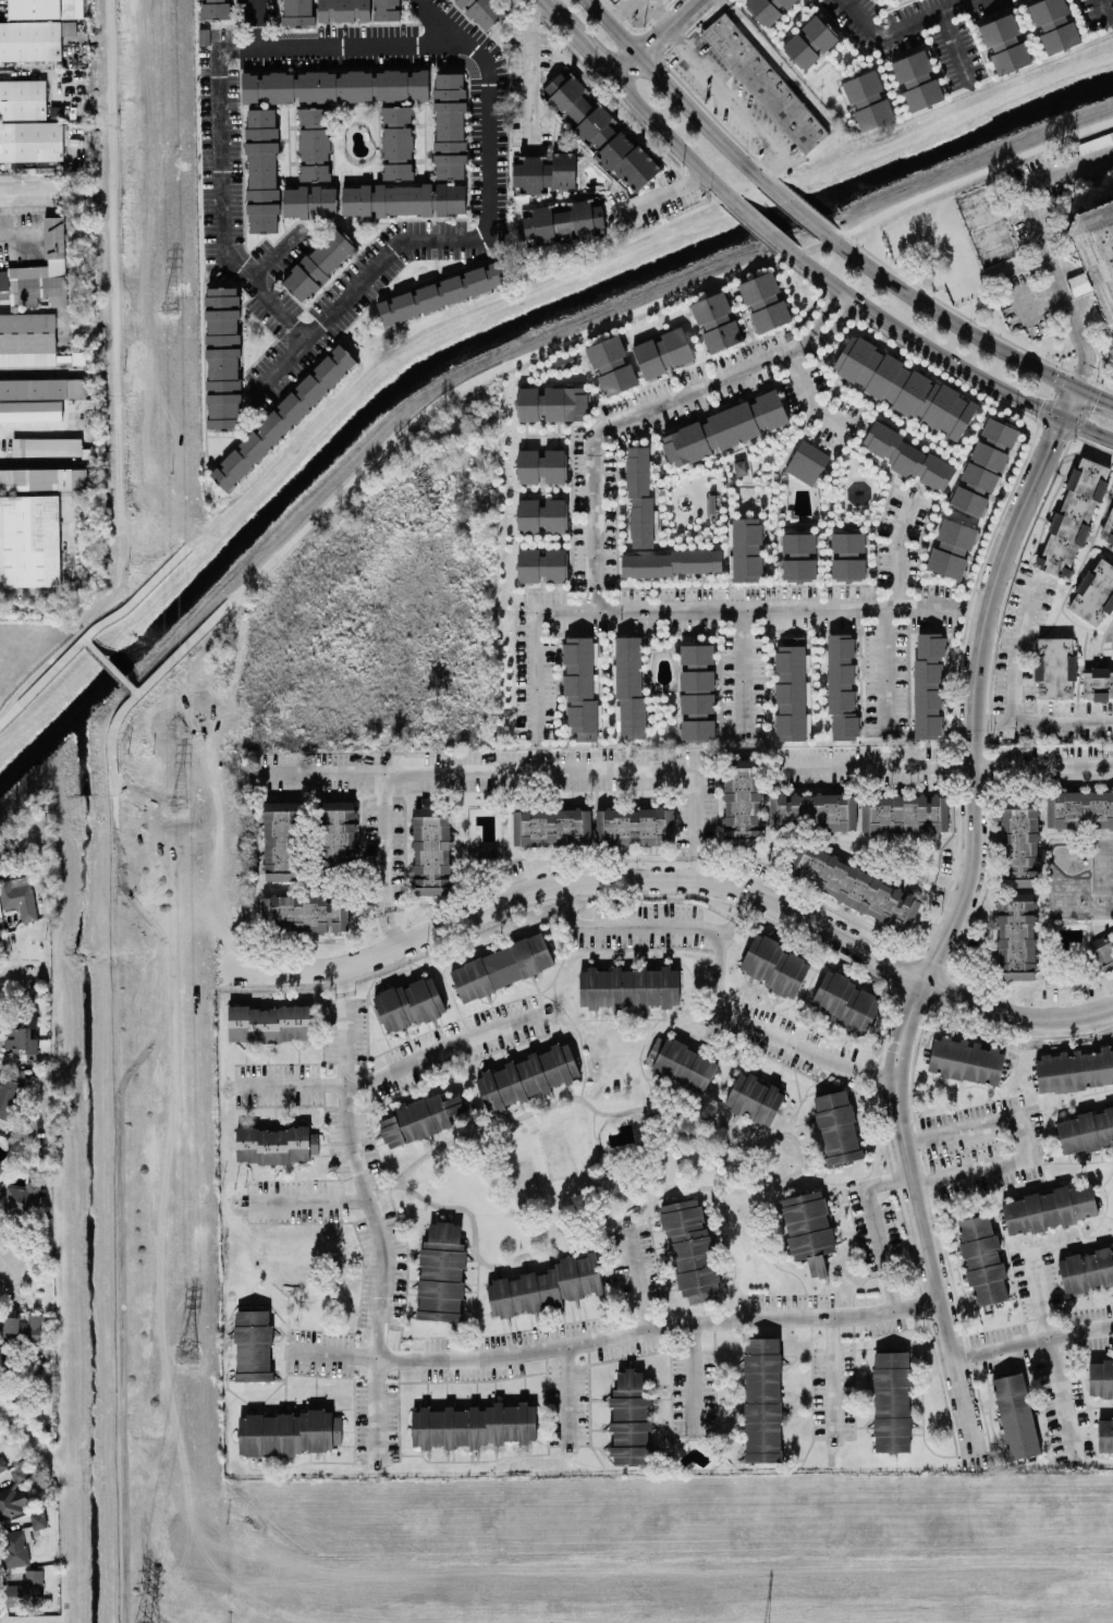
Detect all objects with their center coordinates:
building: (898, 0)
road: (540, 1)
building: (41, 8)
building: (216, 9)
building: (768, 9)
building: (343, 10)
building: (387, 10)
building: (482, 11)
building: (297, 12)
road: (1102, 13)
road: (259, 22)
road: (437, 22)
building: (1053, 24)
road: (901, 26)
road: (657, 39)
building: (29, 40)
road: (577, 40)
building: (809, 41)
road: (423, 44)
building: (1004, 44)
road: (958, 47)
road: (531, 71)
building: (917, 81)
building: (765, 82)
road: (675, 93)
building: (868, 100)
road: (734, 102)
building: (27, 124)
building: (450, 125)
building: (600, 131)
building: (314, 141)
road: (672, 141)
park: (962, 141)
building: (396, 142)
building: (261, 170)
building: (542, 171)
road: (29, 194)
road: (658, 196)
building: (403, 199)
building: (309, 202)
road: (796, 209)
road: (758, 224)
building: (986, 225)
road: (1051, 249)
building: (1097, 253)
road: (279, 257)
building: (318, 264)
building: (39, 271)
building: (441, 293)
building: (765, 303)
power tower: (171, 313)
road: (947, 318)
building: (715, 321)
road: (430, 327)
building: (27, 332)
road: (578, 334)
river: (493, 335)
road: (112, 341)
road: (918, 343)
building: (662, 352)
building: (222, 356)
building: (563, 361)
building: (611, 365)
building: (904, 387)
building: (42, 388)
traffic signals: (1078, 389)
road: (806, 393)
road: (1096, 395)
building: (552, 404)
road: (646, 410)
building: (283, 417)
traffic signals: (1065, 419)
building: (724, 428)
road: (1089, 429)
building: (47, 446)
building: (908, 457)
road: (39, 461)
building: (807, 462)
building: (984, 465)
building: (541, 466)
building: (639, 495)
building: (540, 515)
building: (1074, 515)
building: (33, 523)
building: (1108, 527)
building: (745, 548)
building: (951, 548)
road: (898, 553)
building: (847, 554)
building: (799, 557)
building: (673, 562)
building: (541, 564)
road: (996, 568)
building: (1094, 593)
road: (140, 594)
road: (759, 610)
road: (1023, 632)
building: (1112, 640)
road: (110, 667)
building: (1054, 667)
road: (884, 669)
road: (742, 671)
road: (535, 673)
road: (41, 682)
building: (1097, 683)
building: (842, 684)
building: (927, 685)
building: (579, 686)
building: (629, 686)
building: (791, 690)
building: (697, 692)
road: (1043, 722)
road: (1043, 760)
road: (614, 767)
road: (113, 768)
road: (28, 798)
building: (742, 805)
power tower: (180, 806)
building: (1079, 808)
building: (815, 809)
building: (904, 814)
road: (697, 823)
building: (633, 826)
building: (551, 827)
building: (337, 833)
building: (281, 841)
building: (1020, 843)
building: (431, 847)
road: (384, 859)
road: (968, 878)
road: (573, 884)
building: (857, 887)
building: (19, 896)
road: (115, 902)
building: (305, 913)
road: (628, 925)
building: (0, 932)
building: (1016, 936)
road: (720, 947)
building: (1103, 950)
building: (774, 965)
building: (501, 967)
road: (23, 975)
building: (628, 987)
building: (846, 1001)
building: (408, 1003)
road: (1014, 1015)
building: (269, 1023)
building: (22, 1035)
road: (793, 1042)
road: (441, 1048)
building: (965, 1060)
building: (681, 1062)
building: (1074, 1070)
building: (527, 1076)
road: (289, 1085)
building: (8, 1096)
building: (754, 1098)
building: (419, 1119)
building: (836, 1126)
building: (1086, 1131)
building: (276, 1144)
building: (1, 1166)
road: (961, 1170)
road: (62, 1194)
building: (25, 1197)
road: (308, 1200)
building: (1049, 1208)
road: (369, 1211)
road: (921, 1225)
building: (808, 1229)
building: (690, 1248)
road: (4, 1257)
building: (982, 1260)
building: (1086, 1269)
building: (441, 1272)
road: (638, 1277)
building: (546, 1285)
road: (120, 1289)
building: (23, 1329)
road: (619, 1333)
road: (1033, 1340)
building: (253, 1345)
power tower: (186, 1355)
road: (1059, 1356)
building: (1100, 1378)
road: (690, 1381)
road: (835, 1387)
road: (567, 1398)
building: (762, 1399)
building: (892, 1401)
building: (1015, 1415)
building: (629, 1418)
building: (474, 1425)
building: (288, 1432)
building: (1105, 1435)
road: (35, 1441)
building: (2, 1463)
building: (13, 1493)
building: (38, 1520)
building: (14, 1547)
building: (26, 1589)

